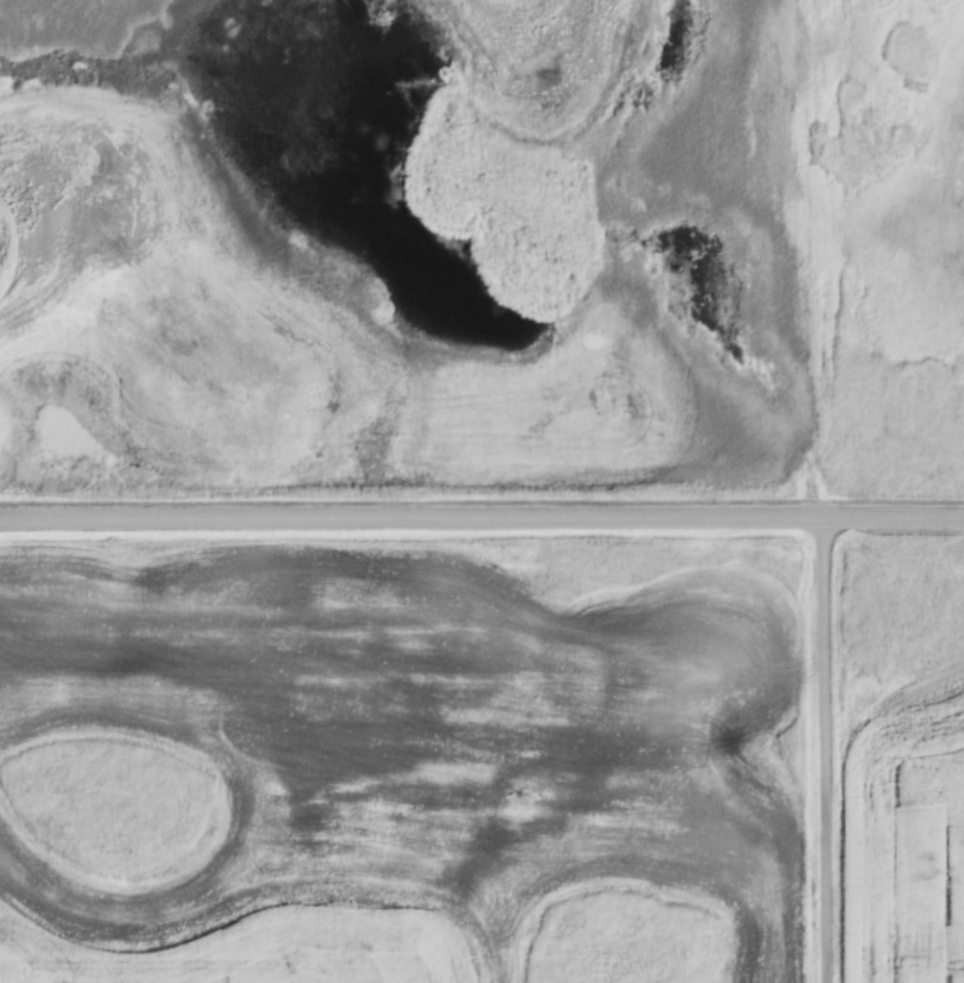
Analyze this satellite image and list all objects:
road: (482, 514)
road: (825, 748)

